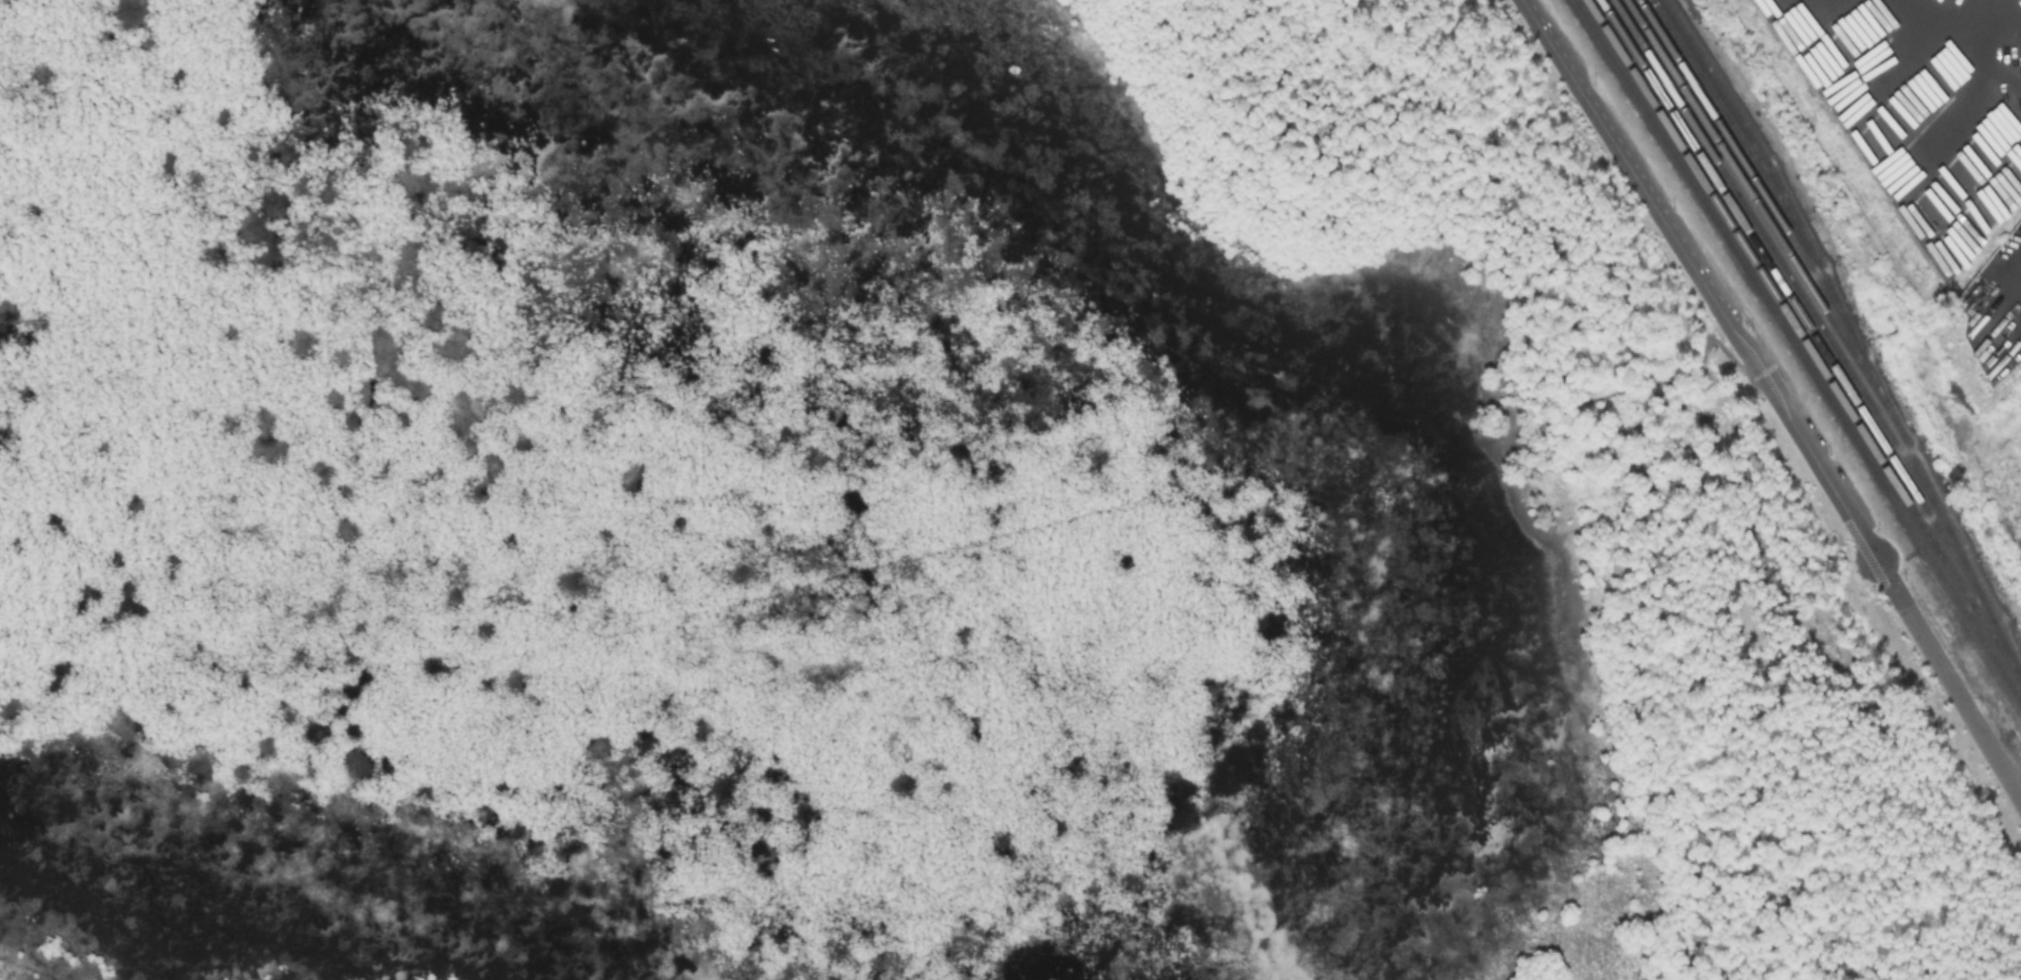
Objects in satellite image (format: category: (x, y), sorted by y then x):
railway: (1737, 133)
railway: (1750, 175)
railway: (1767, 220)
parking lot: (1702, 262)
railway: (1781, 265)
road: (1704, 277)
road: (1700, 291)
railway: (1797, 309)
railway: (1852, 334)
railway: (1804, 342)
railway: (1797, 350)
road: (1666, 359)
road: (1954, 693)

